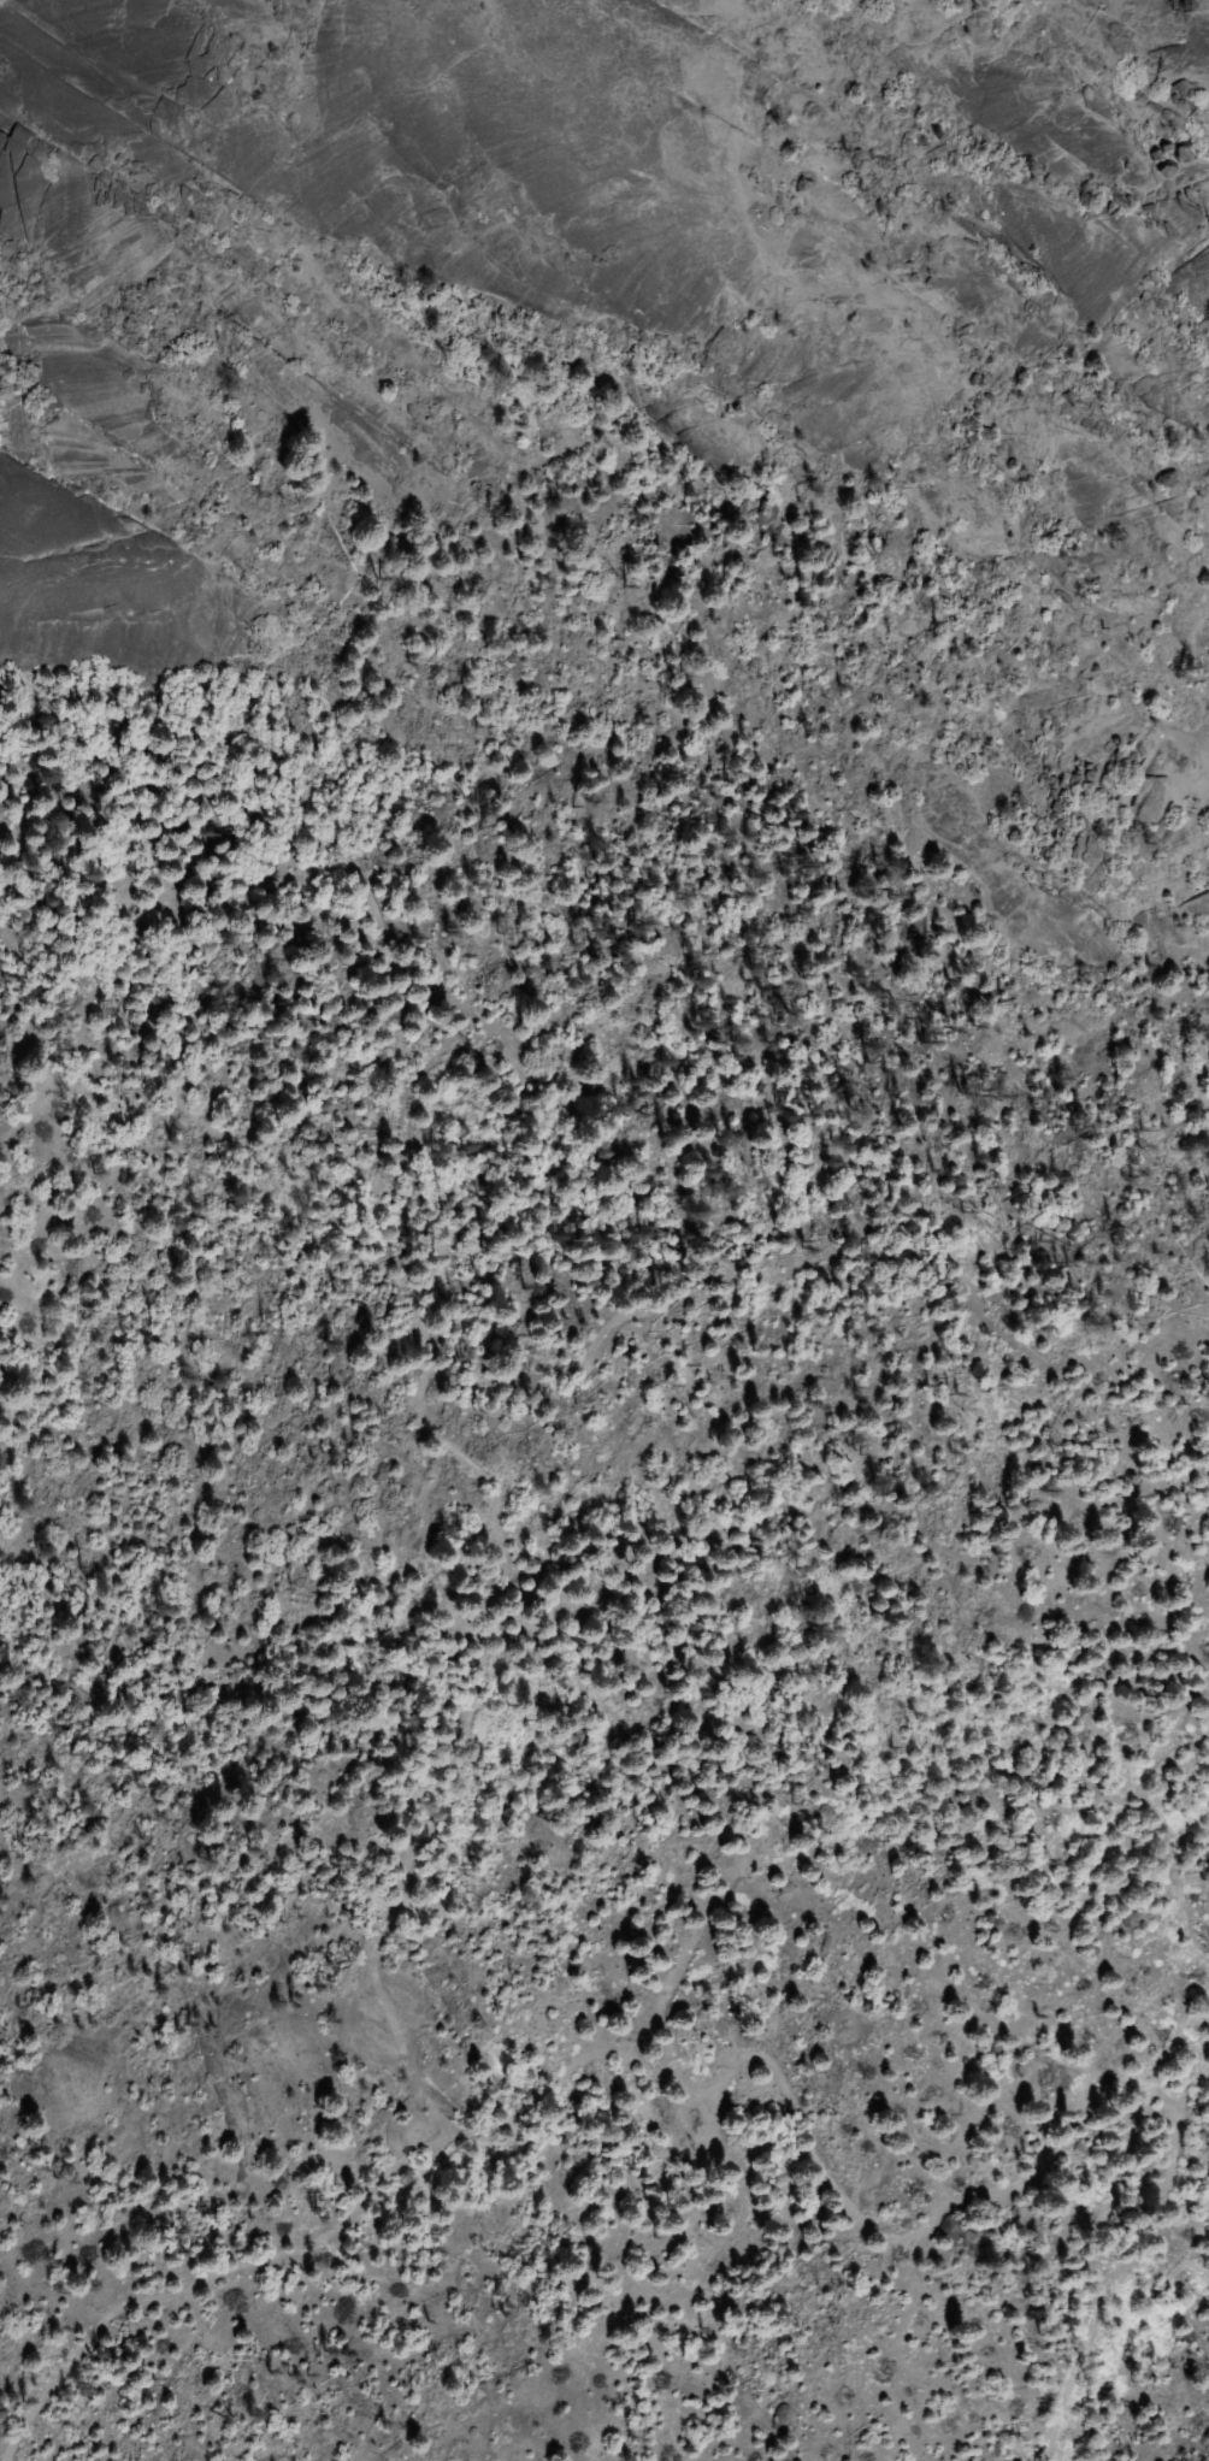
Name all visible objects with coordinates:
road: (828, 258)

